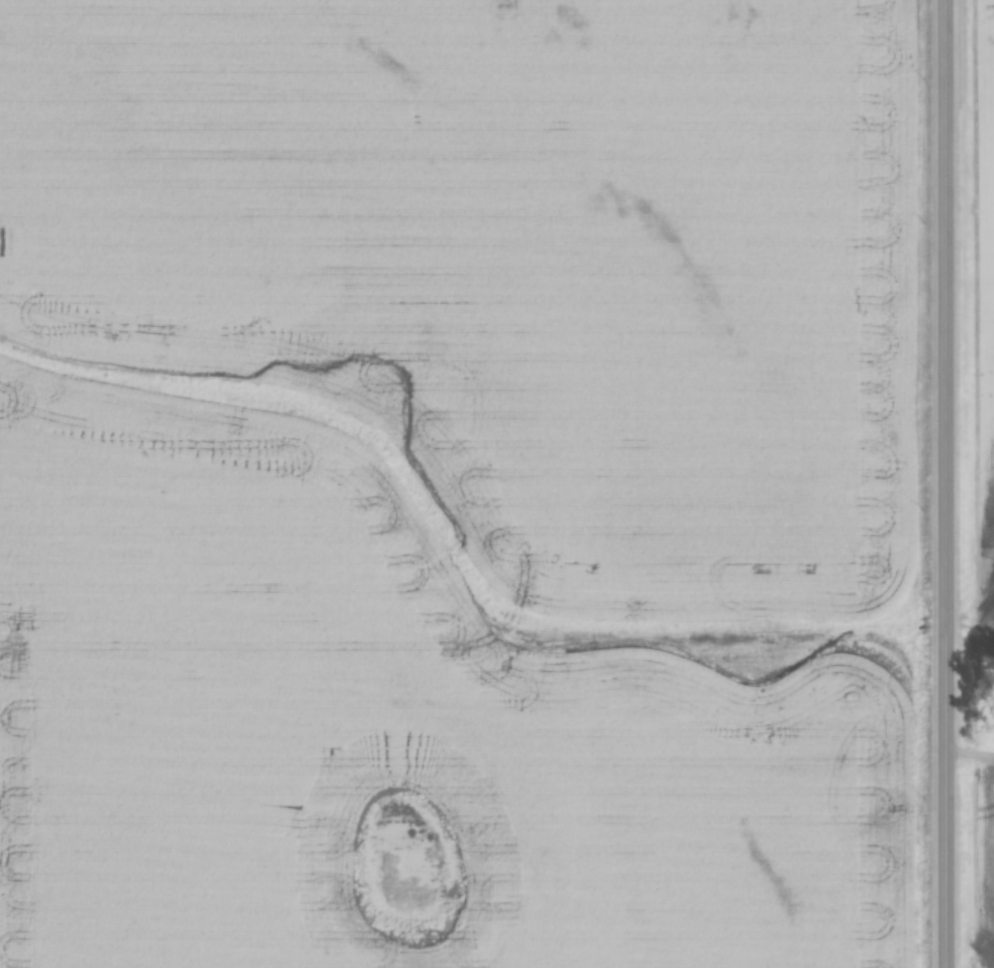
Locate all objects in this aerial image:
road: (944, 483)

